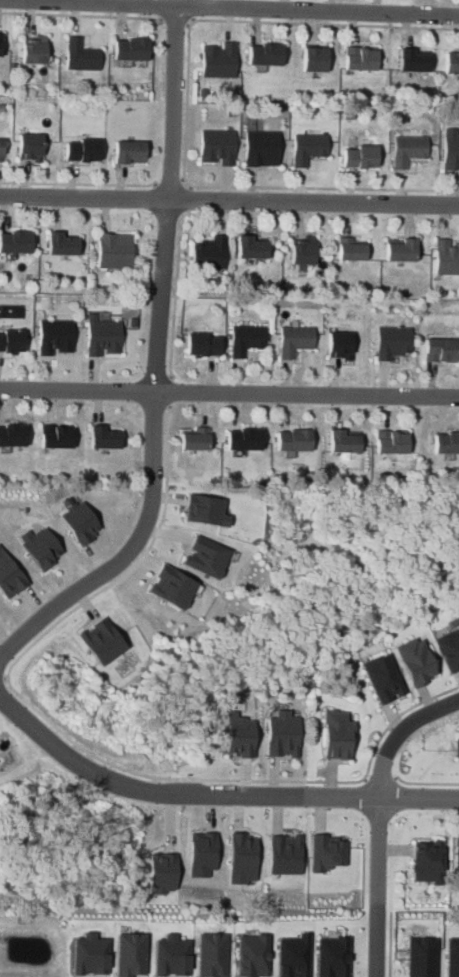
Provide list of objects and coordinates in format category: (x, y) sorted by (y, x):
road: (229, 8)
road: (82, 14)
road: (175, 20)
building: (0, 44)
building: (131, 49)
building: (34, 52)
building: (266, 55)
building: (81, 56)
building: (361, 59)
building: (218, 60)
building: (315, 60)
building: (414, 61)
building: (451, 63)
road: (187, 105)
building: (30, 147)
building: (217, 147)
building: (308, 148)
building: (1, 149)
building: (82, 149)
building: (262, 149)
building: (407, 150)
building: (130, 152)
building: (451, 152)
building: (360, 157)
road: (169, 182)
road: (78, 184)
road: (185, 200)
road: (229, 200)
building: (16, 242)
building: (62, 243)
building: (251, 247)
building: (351, 249)
building: (401, 249)
building: (114, 251)
building: (303, 252)
building: (209, 253)
building: (447, 257)
road: (175, 293)
building: (56, 337)
building: (104, 337)
building: (246, 339)
building: (295, 339)
building: (12, 340)
building: (394, 341)
building: (204, 344)
building: (342, 345)
building: (442, 349)
road: (157, 366)
road: (172, 392)
road: (229, 393)
building: (13, 435)
building: (56, 436)
building: (105, 437)
building: (195, 438)
building: (245, 439)
building: (294, 440)
building: (345, 441)
building: (393, 442)
building: (447, 442)
building: (206, 509)
building: (79, 520)
building: (41, 547)
building: (206, 556)
building: (10, 575)
building: (172, 586)
building: (102, 641)
building: (449, 649)
building: (417, 660)
road: (3, 674)
building: (384, 678)
road: (21, 696)
road: (396, 717)
building: (238, 734)
building: (282, 734)
building: (337, 734)
building: (457, 746)
road: (381, 778)
road: (426, 783)
road: (212, 794)
road: (376, 817)
building: (328, 852)
building: (201, 853)
building: (285, 854)
building: (457, 855)
building: (242, 859)
building: (427, 862)
building: (161, 872)
road: (390, 944)
building: (89, 954)
building: (129, 954)
building: (212, 954)
building: (171, 955)
building: (252, 955)
building: (294, 956)
building: (422, 956)
building: (332, 957)
building: (453, 957)

